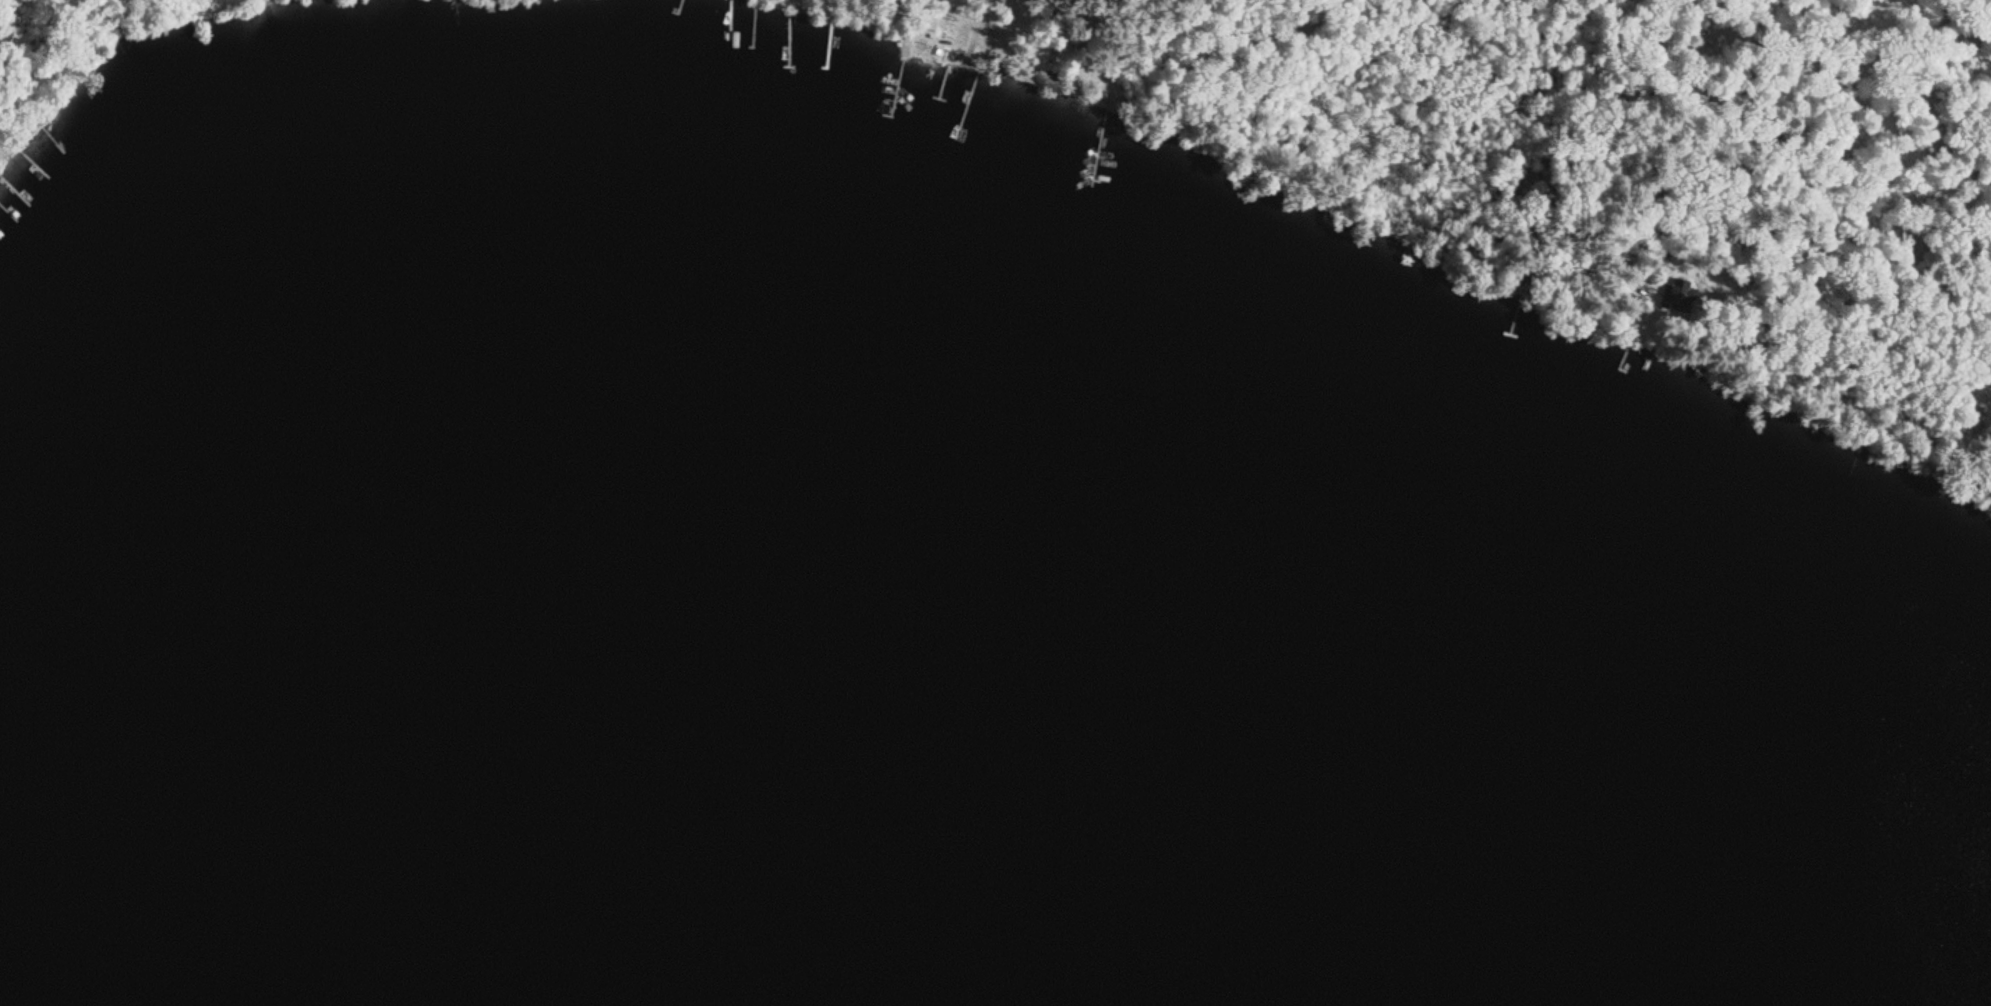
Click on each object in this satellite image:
road: (926, 27)
road: (1025, 30)

